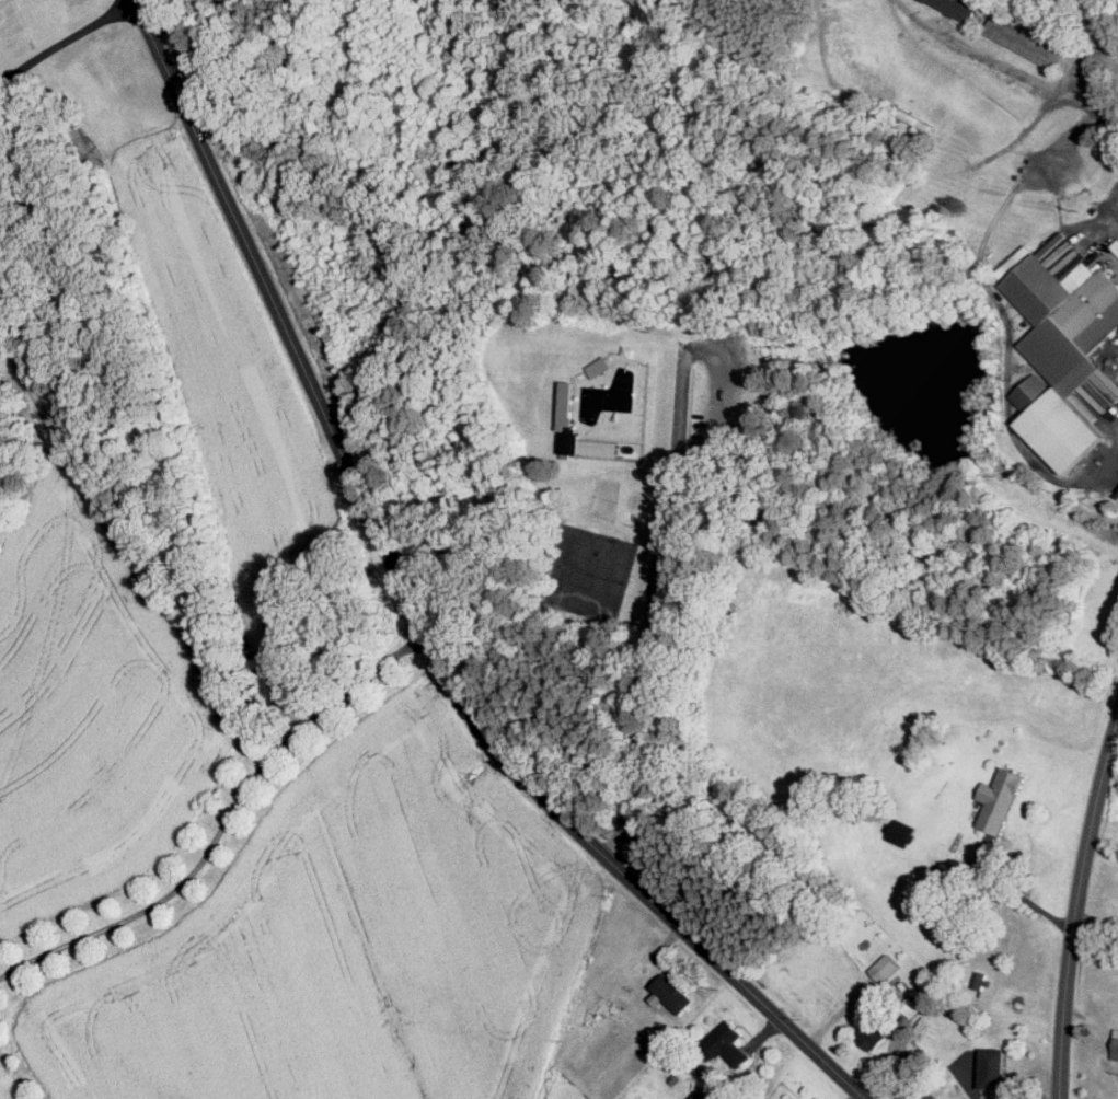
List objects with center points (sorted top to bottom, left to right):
building: (958, 7)
road: (66, 37)
building: (1024, 41)
road: (1019, 73)
building: (263, 151)
building: (1016, 262)
building: (1065, 352)
building: (567, 406)
road: (1114, 467)
road: (412, 610)
building: (1000, 798)
road: (219, 815)
building: (901, 831)
road: (1077, 904)
building: (885, 965)
building: (979, 977)
building: (670, 992)
building: (874, 1033)
building: (723, 1039)
building: (1116, 1044)
building: (993, 1066)
building: (699, 1095)
road: (853, 1095)

